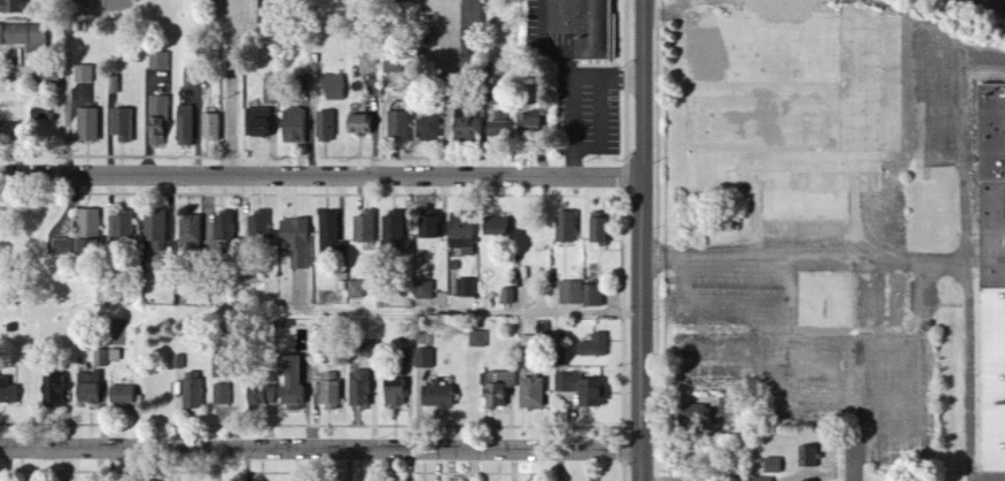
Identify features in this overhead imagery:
building: (396, 1)
railway: (1001, 1)
building: (14, 6)
building: (267, 11)
building: (472, 13)
building: (586, 26)
building: (392, 28)
building: (25, 37)
building: (428, 37)
building: (368, 44)
building: (472, 48)
road: (991, 57)
building: (159, 61)
building: (314, 61)
building: (368, 64)
building: (489, 65)
building: (85, 74)
building: (52, 76)
building: (488, 77)
building: (188, 79)
building: (467, 79)
building: (303, 83)
building: (115, 84)
road: (230, 85)
building: (334, 86)
road: (441, 86)
building: (271, 90)
building: (41, 113)
building: (467, 119)
building: (159, 121)
building: (258, 123)
building: (530, 123)
building: (122, 125)
building: (185, 125)
building: (399, 125)
building: (88, 126)
building: (501, 126)
building: (295, 127)
building: (325, 127)
building: (361, 127)
building: (212, 129)
building: (428, 130)
building: (12, 135)
road: (320, 170)
building: (463, 224)
building: (498, 224)
building: (86, 225)
building: (261, 225)
building: (366, 225)
building: (394, 225)
building: (431, 225)
building: (567, 225)
building: (153, 227)
building: (223, 227)
building: (120, 228)
building: (602, 229)
building: (188, 231)
building: (328, 231)
building: (296, 240)
road: (625, 240)
road: (641, 240)
building: (72, 248)
building: (341, 249)
building: (454, 264)
building: (253, 279)
building: (377, 281)
building: (342, 284)
building: (990, 284)
building: (467, 286)
building: (356, 289)
building: (425, 289)
building: (572, 291)
building: (510, 293)
building: (594, 294)
building: (408, 301)
road: (468, 311)
building: (286, 321)
building: (196, 325)
building: (272, 325)
building: (221, 326)
road: (968, 333)
building: (477, 340)
building: (536, 341)
building: (594, 347)
building: (561, 355)
building: (101, 358)
building: (424, 358)
building: (179, 361)
building: (225, 361)
building: (329, 377)
building: (292, 378)
building: (585, 387)
building: (358, 390)
building: (8, 391)
building: (51, 393)
building: (191, 393)
building: (393, 393)
building: (83, 394)
building: (497, 394)
building: (531, 394)
building: (120, 395)
building: (223, 395)
building: (436, 395)
building: (270, 396)
building: (328, 396)
building: (246, 400)
building: (694, 418)
road: (320, 448)
road: (858, 456)
building: (806, 458)
building: (772, 466)
building: (159, 479)
building: (761, 479)

